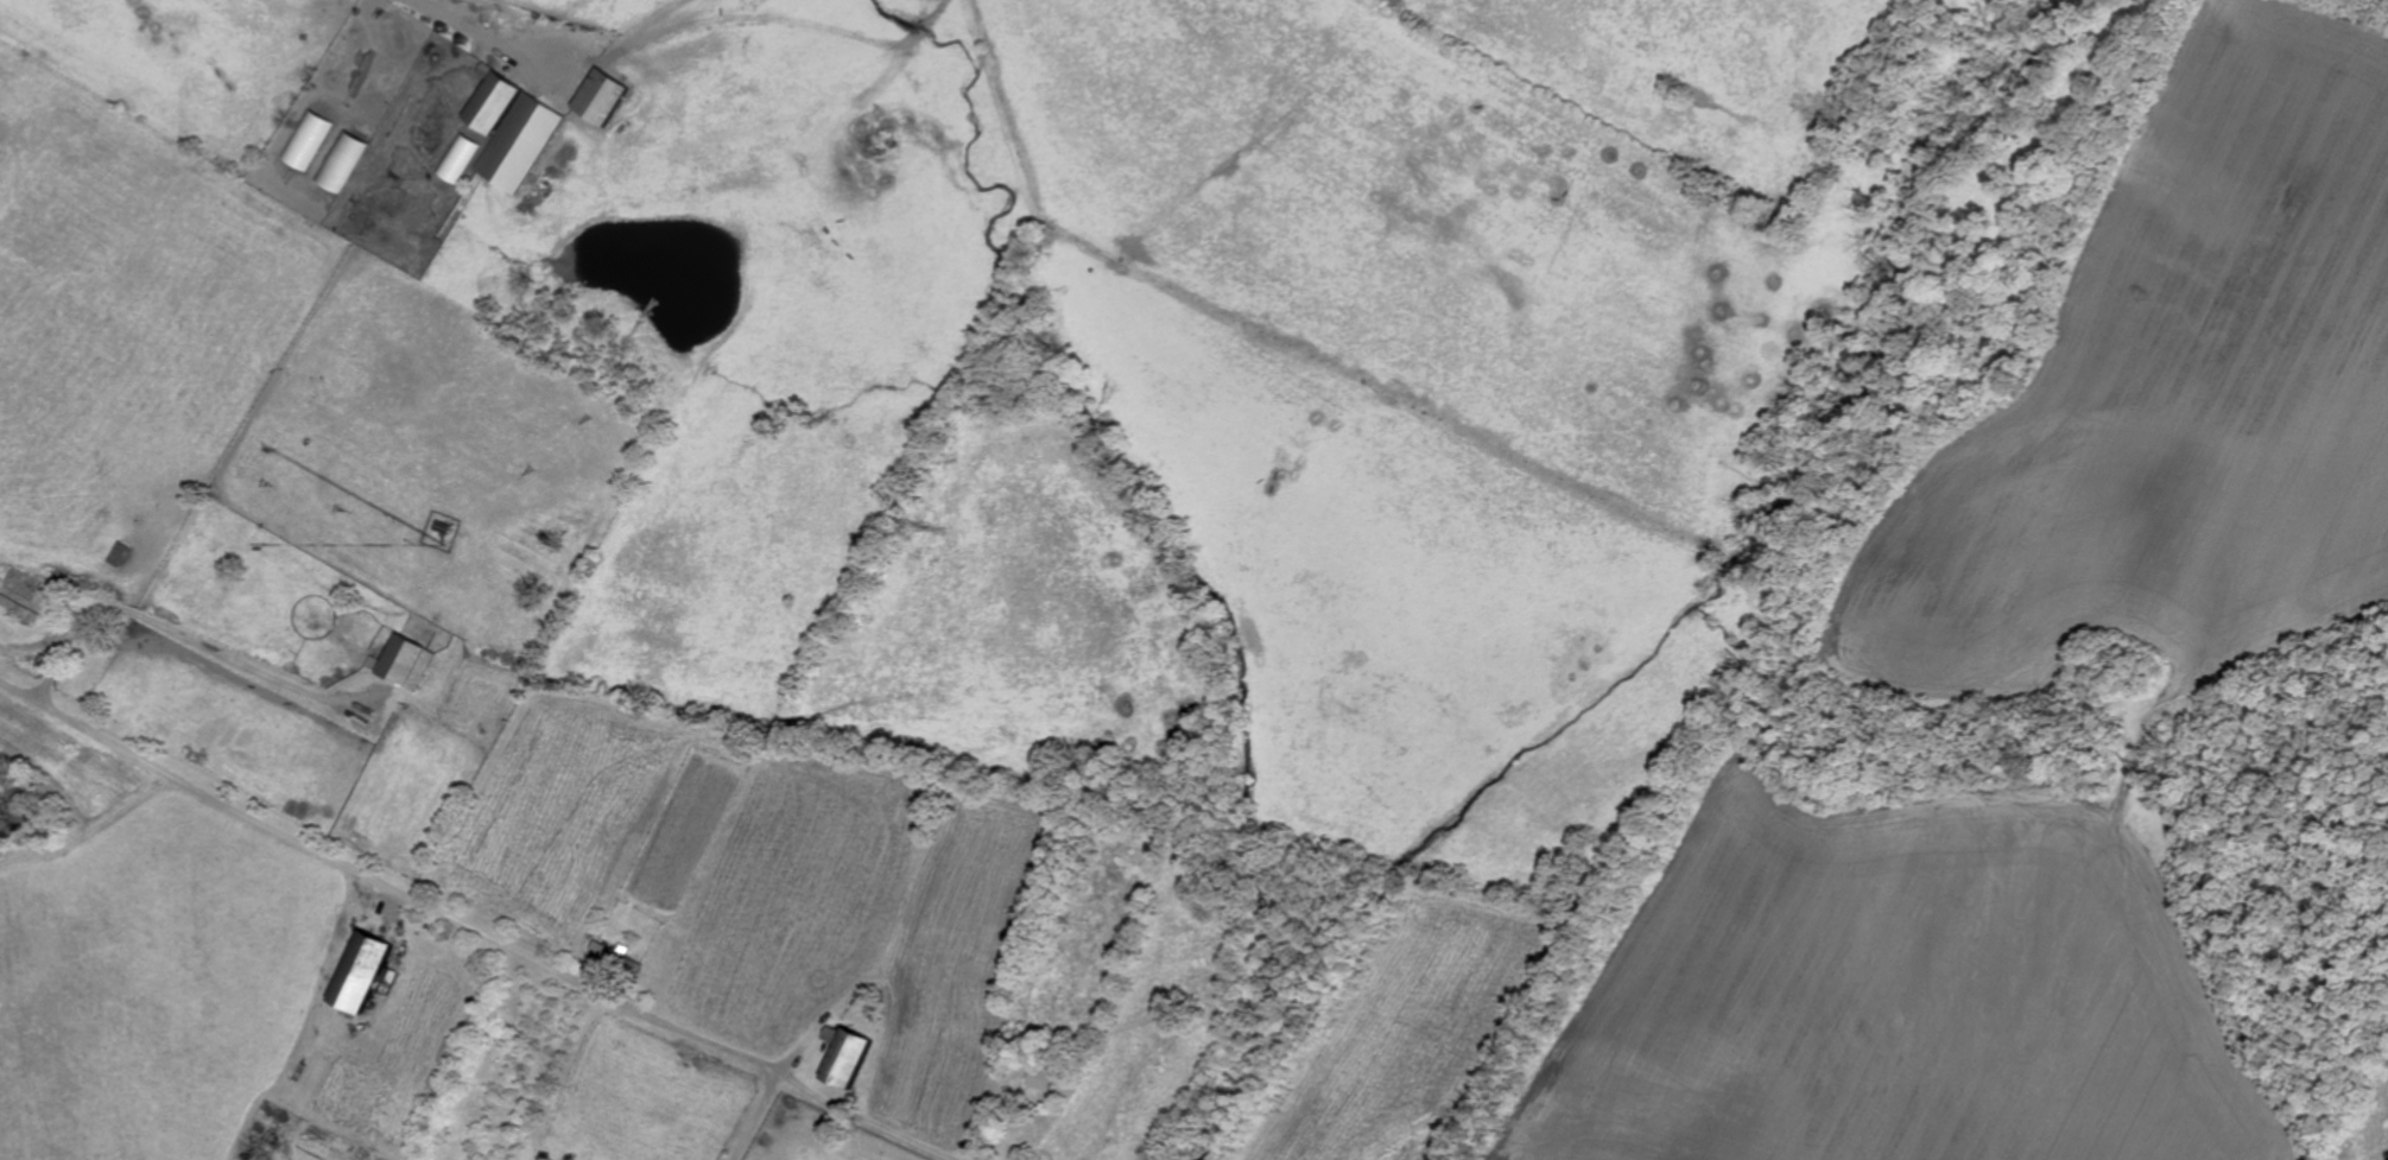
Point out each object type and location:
road: (480, 25)
building: (612, 97)
building: (495, 100)
building: (310, 139)
building: (464, 157)
building: (347, 160)
building: (121, 551)
building: (26, 590)
road: (189, 633)
building: (408, 660)
road: (381, 882)
building: (620, 956)
building: (366, 974)
building: (847, 1056)
building: (1043, 1078)
road: (758, 1115)

